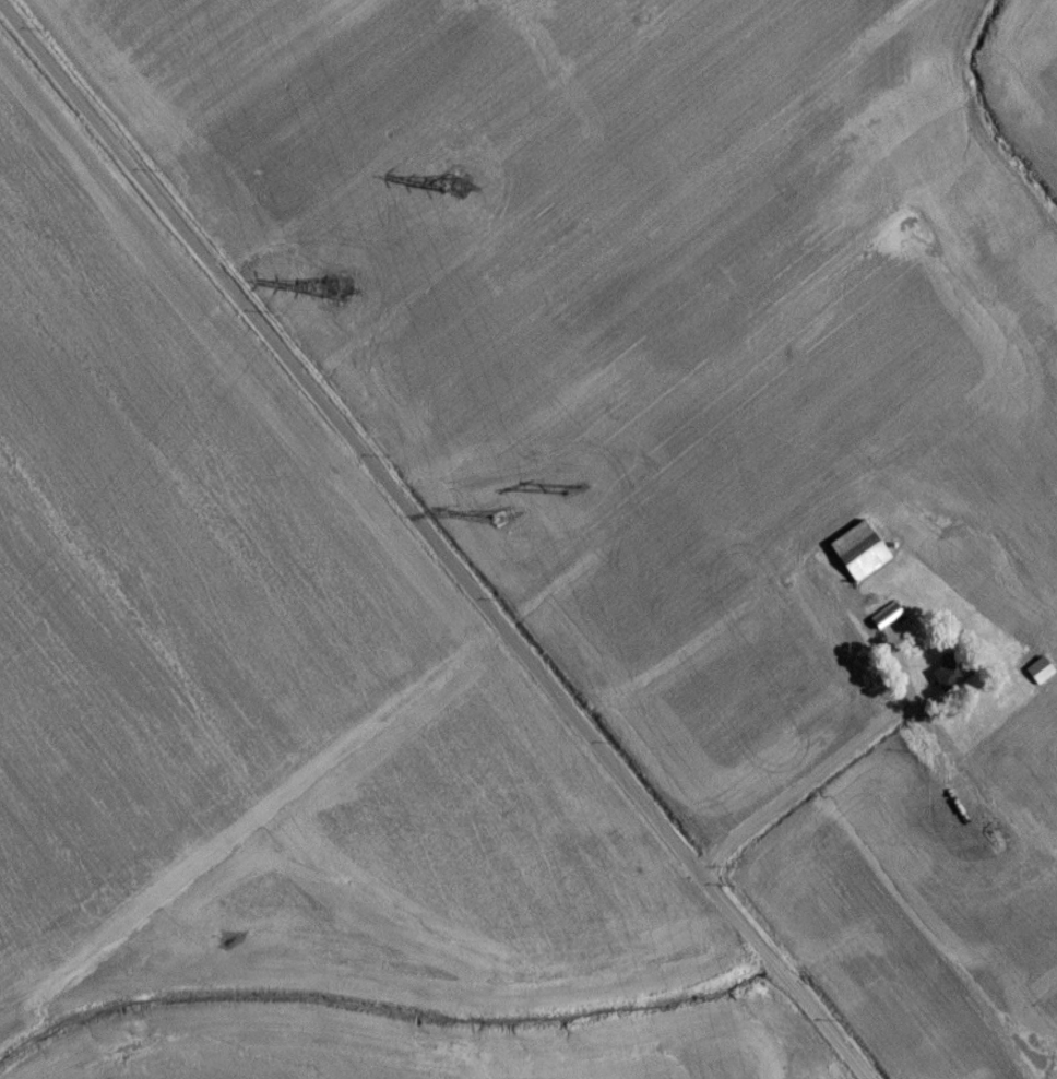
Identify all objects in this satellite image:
power tower: (451, 192)
power tower: (325, 297)
power tower: (566, 496)
power tower: (498, 524)
road: (428, 542)
building: (1020, 547)
building: (857, 558)
building: (1036, 677)
building: (948, 681)
road: (843, 749)

